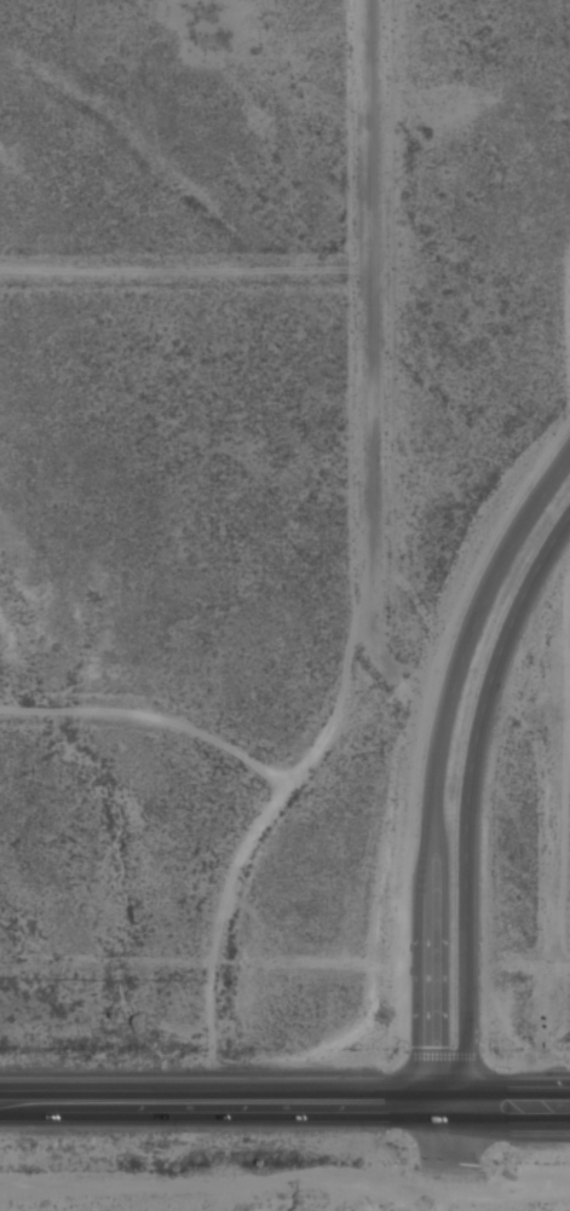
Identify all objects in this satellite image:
road: (184, 278)
road: (368, 356)
road: (154, 722)
road: (437, 757)
road: (461, 791)
road: (284, 1096)

